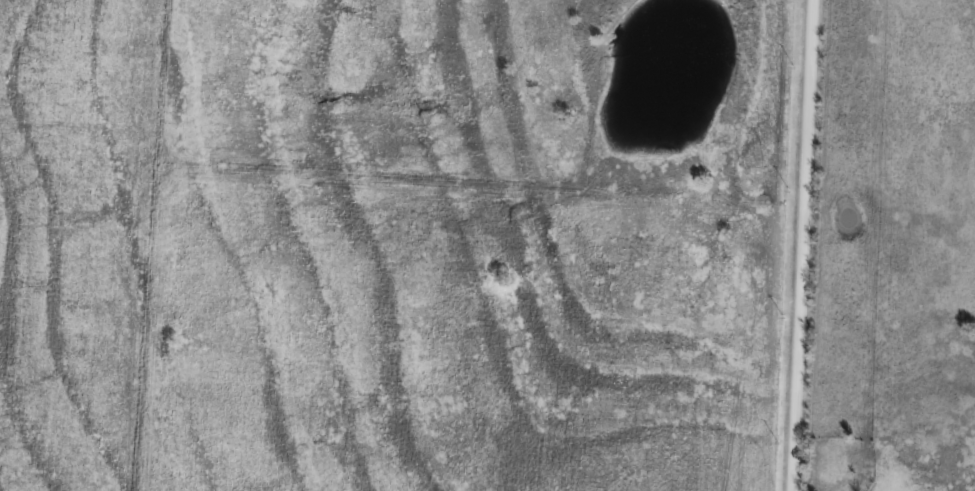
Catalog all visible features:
road: (800, 245)

